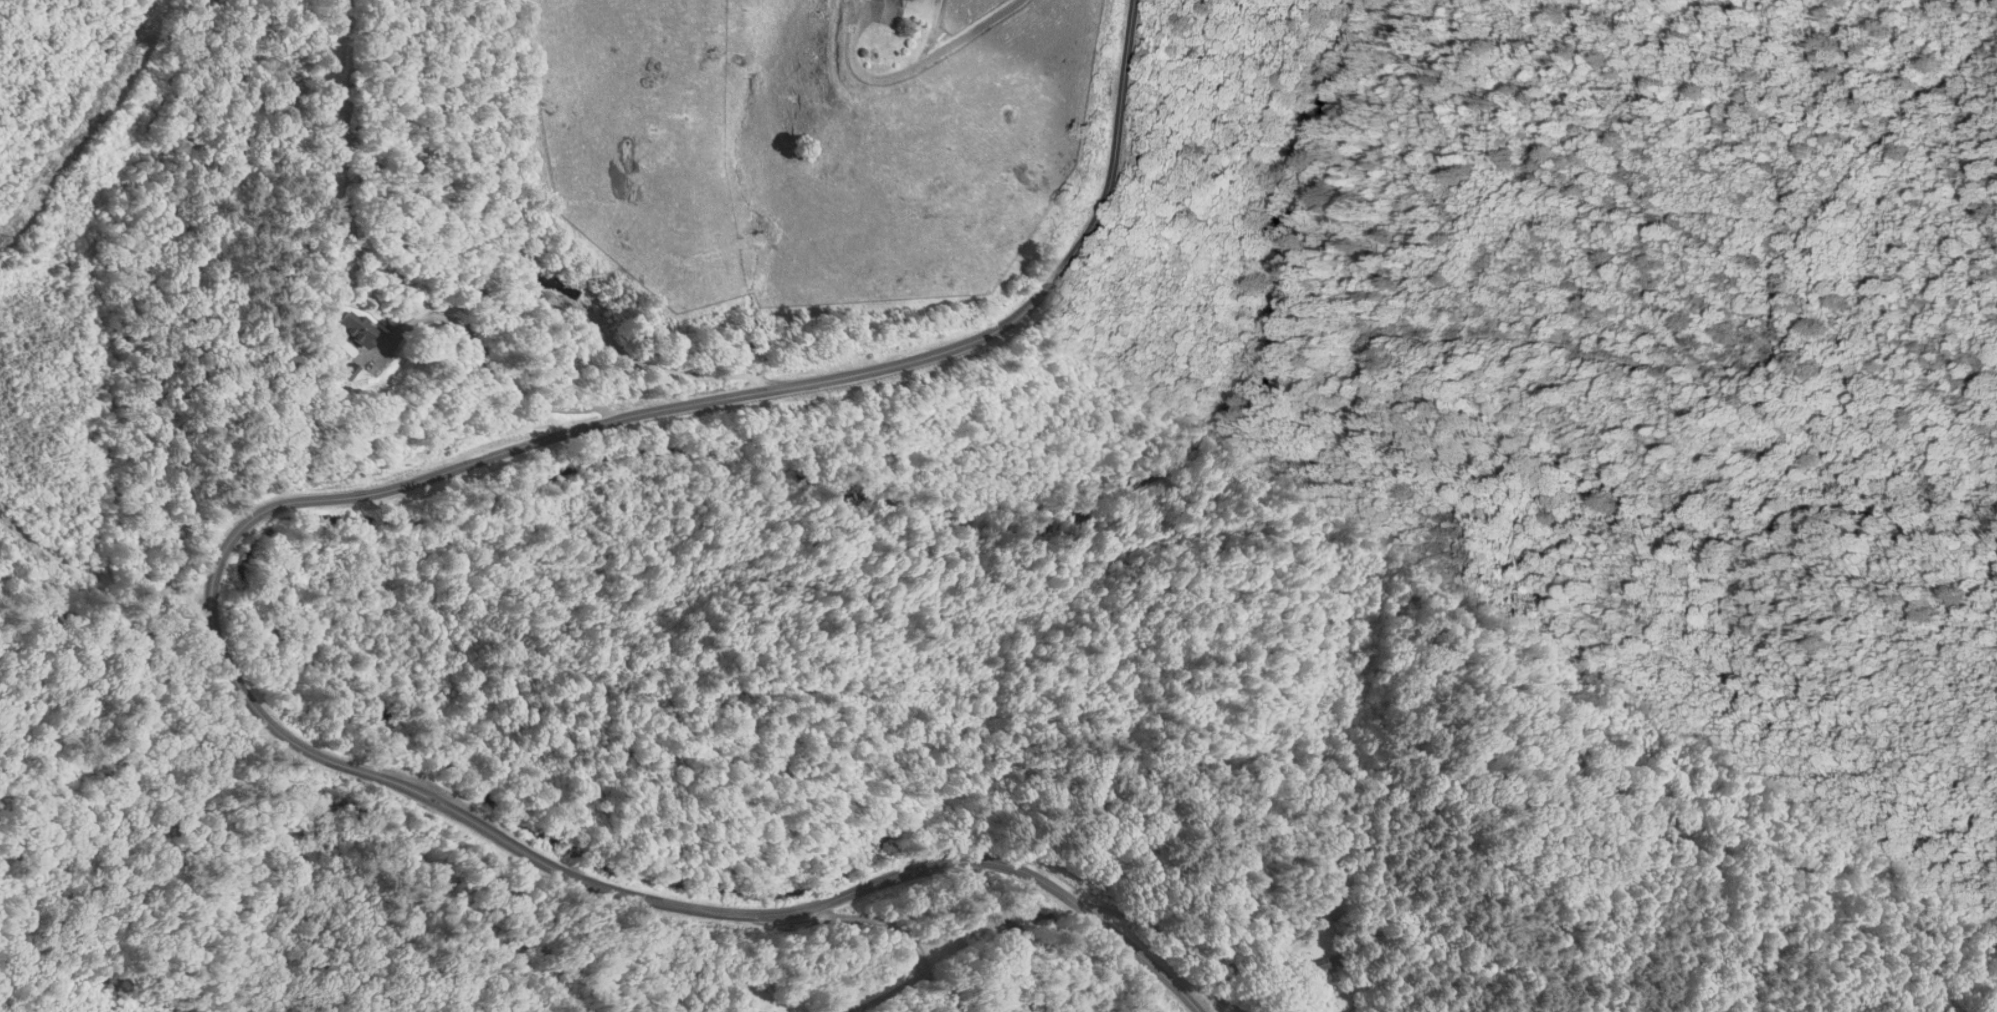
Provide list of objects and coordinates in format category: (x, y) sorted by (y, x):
road: (910, 66)
building: (349, 329)
road: (492, 364)
road: (215, 568)
road: (285, 909)
building: (1314, 964)
building: (749, 1009)

